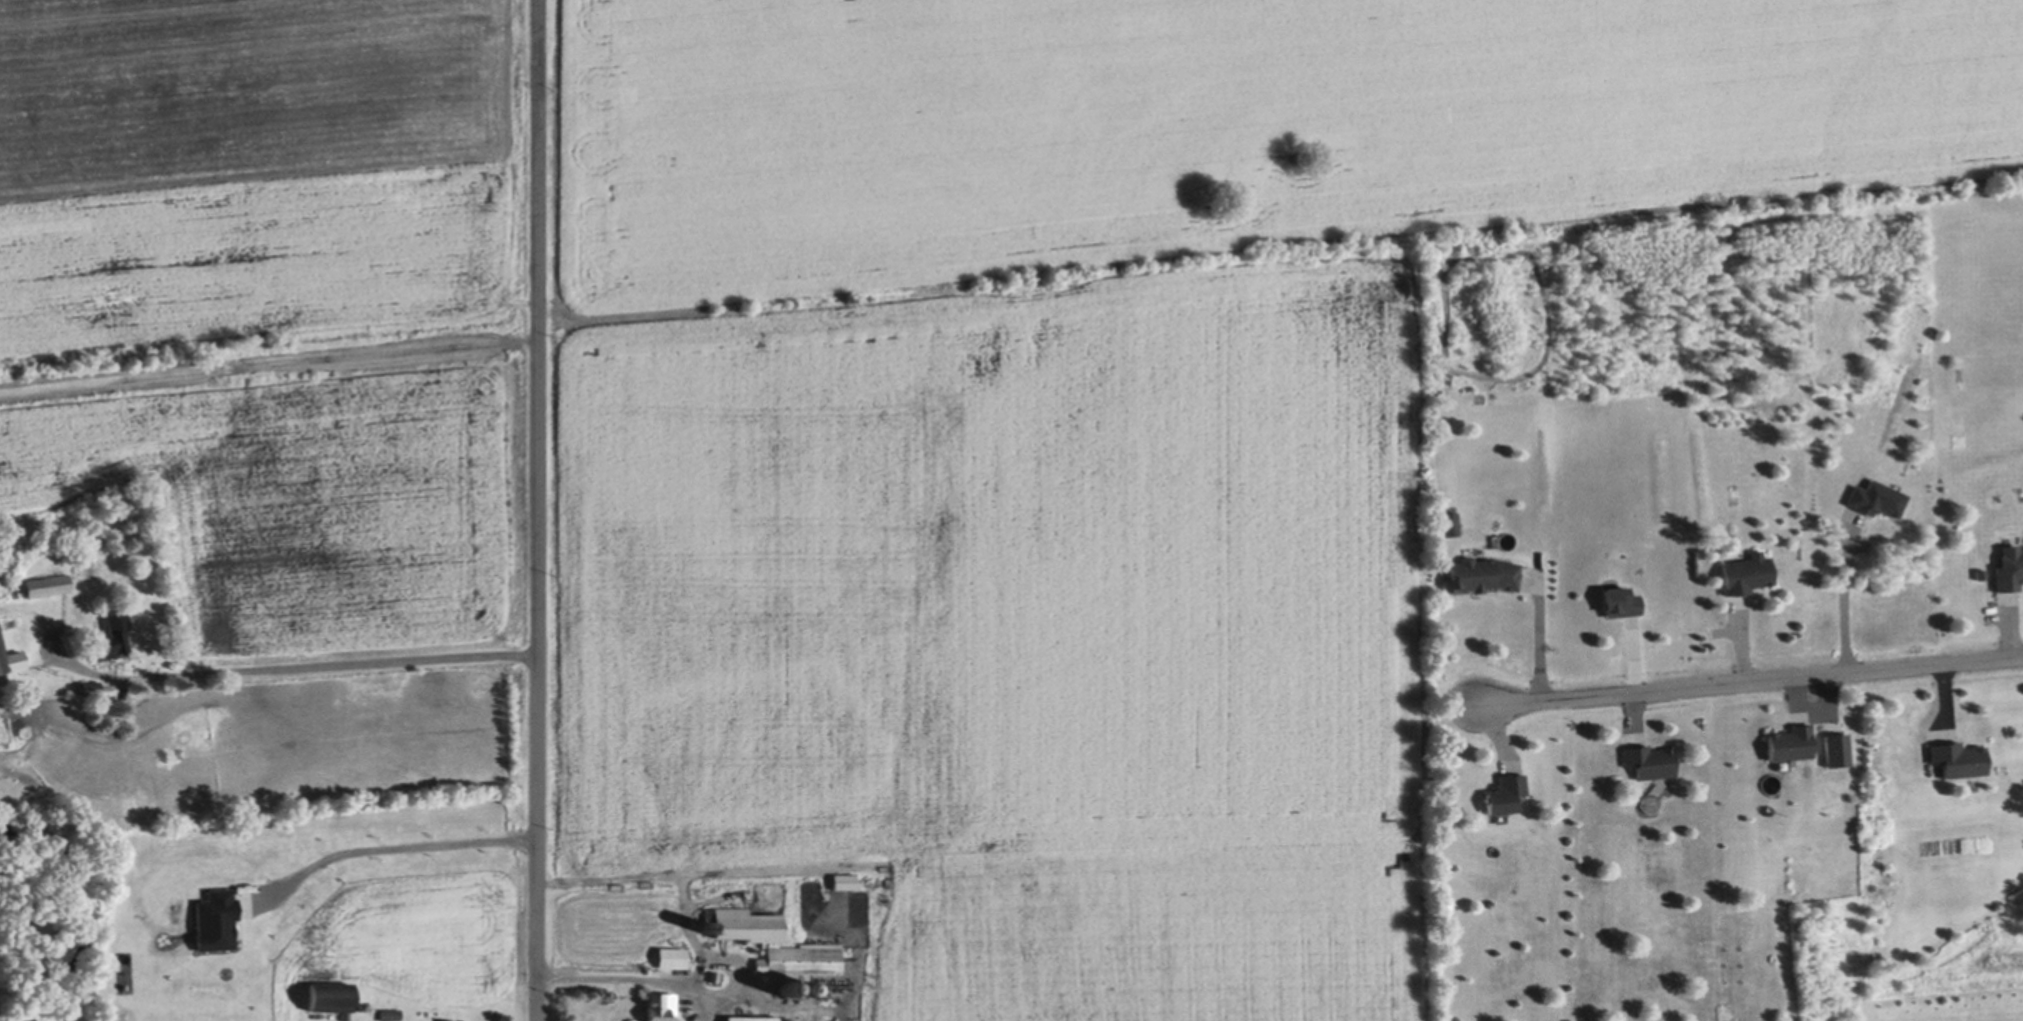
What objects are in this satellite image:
crop: (1092, 439)
building: (1877, 499)
road: (535, 510)
building: (2009, 568)
building: (1745, 573)
building: (1482, 575)
building: (46, 584)
road: (1855, 599)
building: (1619, 602)
building: (111, 636)
road: (1538, 640)
building: (11, 658)
road: (293, 666)
road: (1750, 679)
building: (89, 687)
building: (1789, 743)
building: (1833, 749)
building: (1957, 758)
building: (1649, 761)
building: (1505, 794)
road: (388, 842)
building: (845, 880)
building: (774, 941)
building: (672, 957)
building: (907, 968)
road: (654, 975)
building: (714, 975)
building: (786, 988)
building: (805, 988)
building: (332, 996)
building: (360, 1004)
building: (660, 1005)
building: (391, 1013)
building: (750, 1017)
building: (452, 1020)

